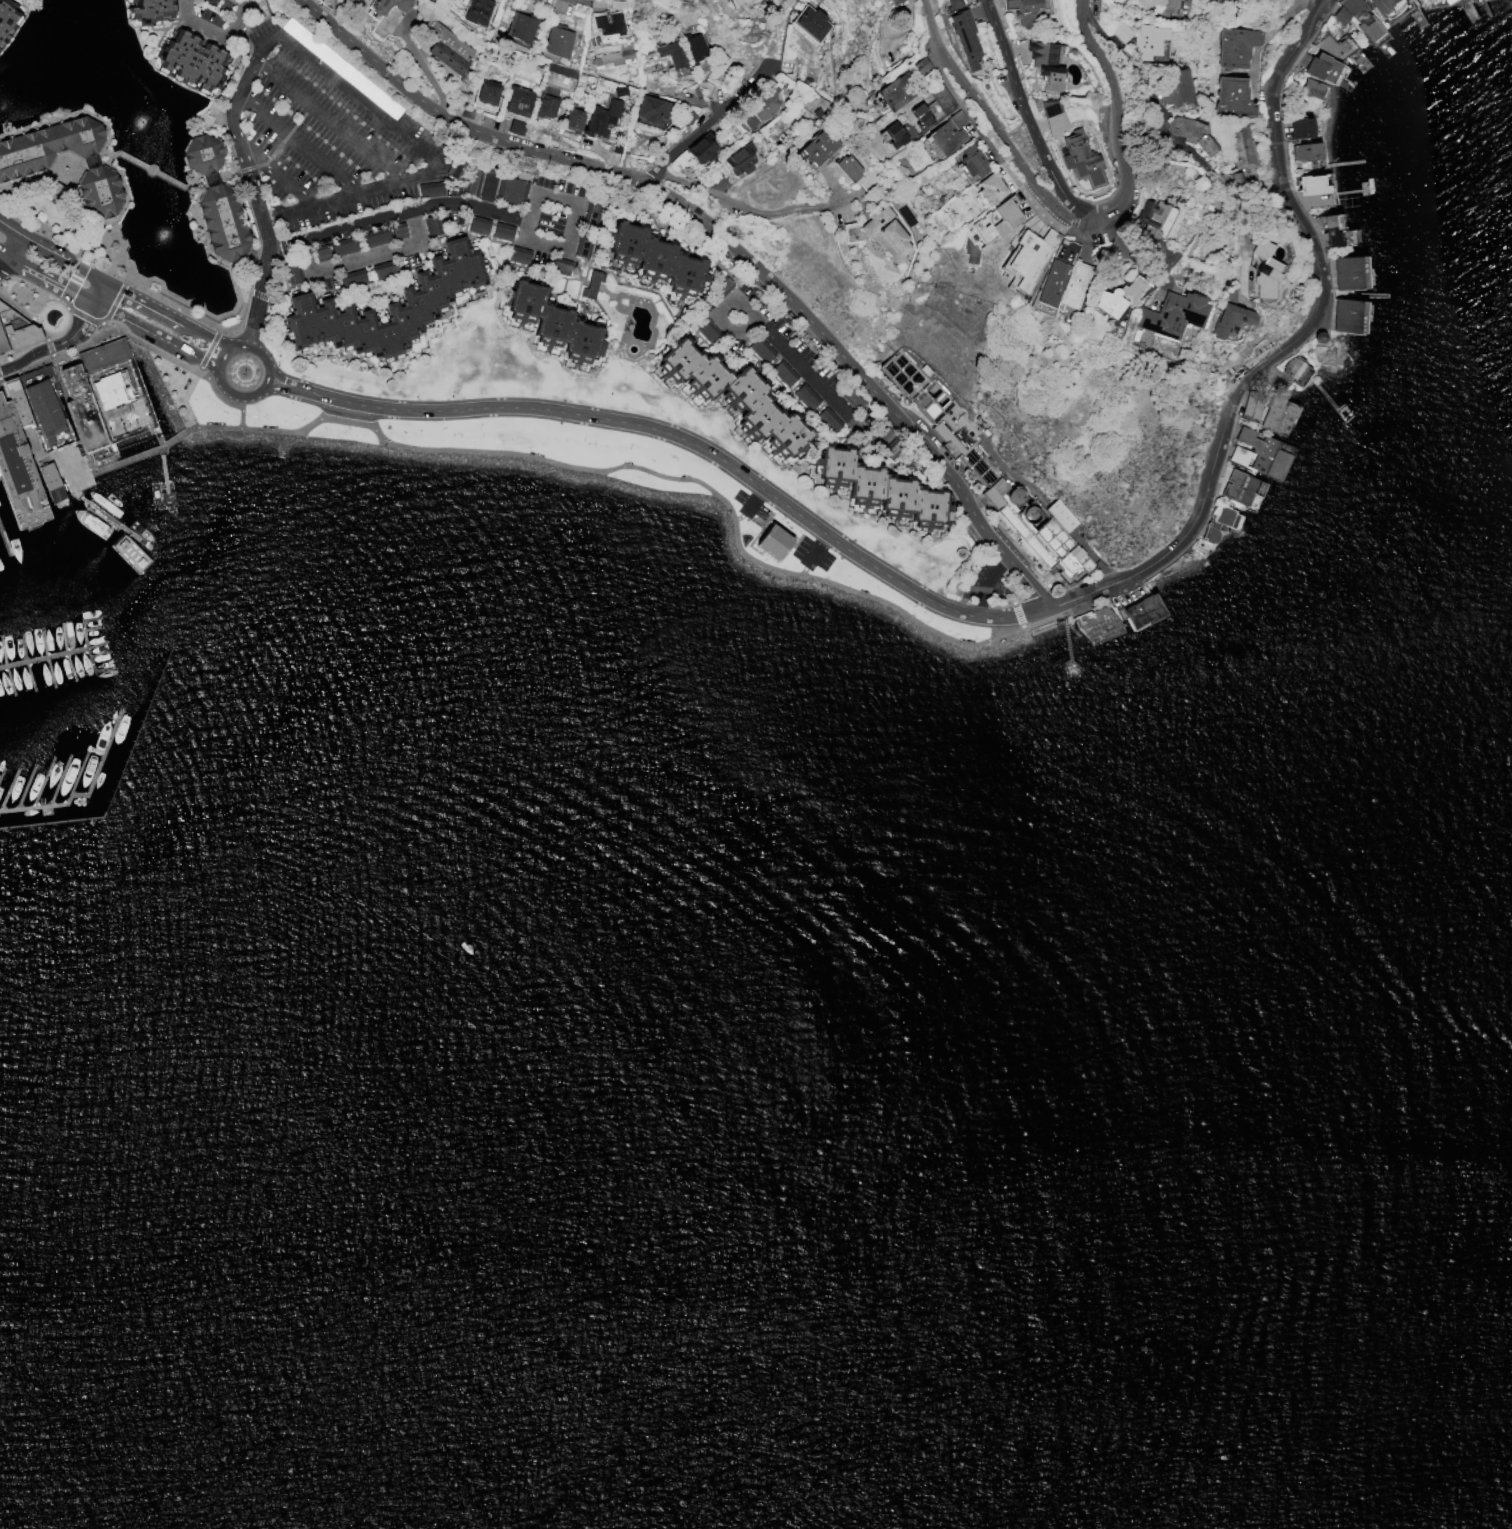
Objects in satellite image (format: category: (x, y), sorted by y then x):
road: (1322, 1)
building: (1511, 1)
building: (738, 2)
building: (1427, 2)
building: (1451, 2)
building: (953, 4)
building: (1383, 5)
building: (387, 6)
building: (896, 8)
building: (1164, 8)
building: (149, 10)
building: (476, 11)
building: (1023, 11)
building: (7, 18)
building: (1356, 18)
building: (810, 23)
building: (609, 24)
building: (520, 26)
building: (379, 29)
building: (1120, 32)
building: (964, 38)
road: (215, 39)
building: (556, 40)
building: (1148, 41)
building: (693, 46)
building: (1234, 46)
building: (1335, 46)
building: (447, 48)
building: (672, 55)
building: (612, 57)
building: (190, 60)
building: (1045, 64)
building: (920, 65)
building: (1319, 67)
building: (1174, 87)
building: (1312, 88)
building: (619, 90)
building: (896, 91)
building: (485, 92)
building: (1230, 97)
building: (940, 98)
road: (1153, 99)
building: (544, 106)
building: (759, 108)
building: (1050, 108)
building: (516, 109)
building: (647, 109)
road: (1028, 113)
building: (919, 115)
road: (1112, 116)
building: (599, 117)
building: (956, 119)
building: (571, 120)
road: (328, 121)
road: (989, 122)
road: (707, 125)
building: (1298, 127)
parking lot: (329, 133)
building: (1191, 134)
building: (893, 135)
building: (945, 138)
road: (298, 145)
building: (47, 146)
building: (819, 146)
building: (1239, 147)
building: (701, 148)
road: (423, 149)
building: (1305, 151)
building: (202, 154)
building: (739, 159)
building: (1080, 159)
building: (972, 160)
building: (847, 167)
building: (455, 168)
road: (275, 169)
road: (154, 171)
road: (56, 173)
road: (224, 177)
building: (471, 182)
road: (253, 184)
building: (1310, 185)
building: (990, 188)
building: (429, 189)
building: (510, 190)
building: (99, 191)
road: (1232, 206)
road: (748, 209)
road: (399, 213)
building: (591, 214)
building: (1150, 217)
building: (996, 220)
building: (222, 223)
building: (431, 225)
building: (478, 225)
building: (397, 231)
building: (501, 231)
building: (1329, 231)
building: (880, 234)
building: (375, 237)
road: (720, 240)
road: (5, 241)
road: (21, 243)
building: (583, 243)
road: (1144, 245)
building: (342, 246)
road: (561, 249)
road: (5, 252)
building: (320, 253)
building: (518, 255)
building: (1030, 256)
road: (363, 257)
road: (1242, 257)
building: (655, 258)
road: (68, 261)
building: (559, 266)
building: (1263, 269)
building: (384, 270)
building: (292, 273)
building: (1345, 273)
road: (46, 279)
building: (351, 279)
building: (1063, 283)
building: (591, 284)
building: (721, 286)
road: (98, 292)
building: (1119, 296)
building: (387, 307)
road: (169, 314)
building: (1171, 314)
building: (1344, 316)
fountain: (52, 318)
building: (1228, 319)
building: (552, 322)
building: (16, 329)
building: (704, 329)
road: (155, 335)
building: (1317, 337)
building: (1143, 339)
building: (2, 344)
road: (53, 345)
road: (1285, 347)
building: (760, 349)
road: (222, 356)
road: (177, 363)
building: (924, 369)
building: (1294, 369)
building: (783, 373)
building: (107, 378)
road: (811, 381)
road: (261, 385)
road: (139, 390)
road: (182, 392)
building: (735, 396)
building: (805, 397)
building: (851, 397)
building: (41, 401)
building: (18, 403)
building: (84, 407)
building: (1250, 407)
building: (1278, 415)
building: (827, 420)
road: (22, 432)
road: (177, 436)
building: (1243, 436)
road: (677, 437)
pier: (69, 439)
road: (83, 443)
building: (893, 447)
road: (161, 450)
pier: (140, 453)
building: (1238, 455)
building: (1268, 457)
building: (15, 466)
road: (162, 467)
road: (73, 469)
road: (640, 469)
building: (987, 469)
building: (50, 482)
road: (71, 485)
building: (1237, 487)
road: (165, 488)
building: (881, 488)
road: (166, 495)
pier: (166, 496)
park: (700, 497)
road: (82, 499)
road: (754, 501)
parking lot: (749, 506)
road: (740, 517)
pier: (112, 521)
building: (1216, 523)
road: (117, 524)
pier: (4, 543)
building: (775, 545)
road: (817, 549)
parking lot: (811, 555)
road: (803, 570)
building: (1139, 611)
building: (1097, 623)
road: (1037, 631)
pier: (44, 657)
pier: (1069, 658)
road: (1072, 675)
pier: (117, 778)
pier: (82, 796)

